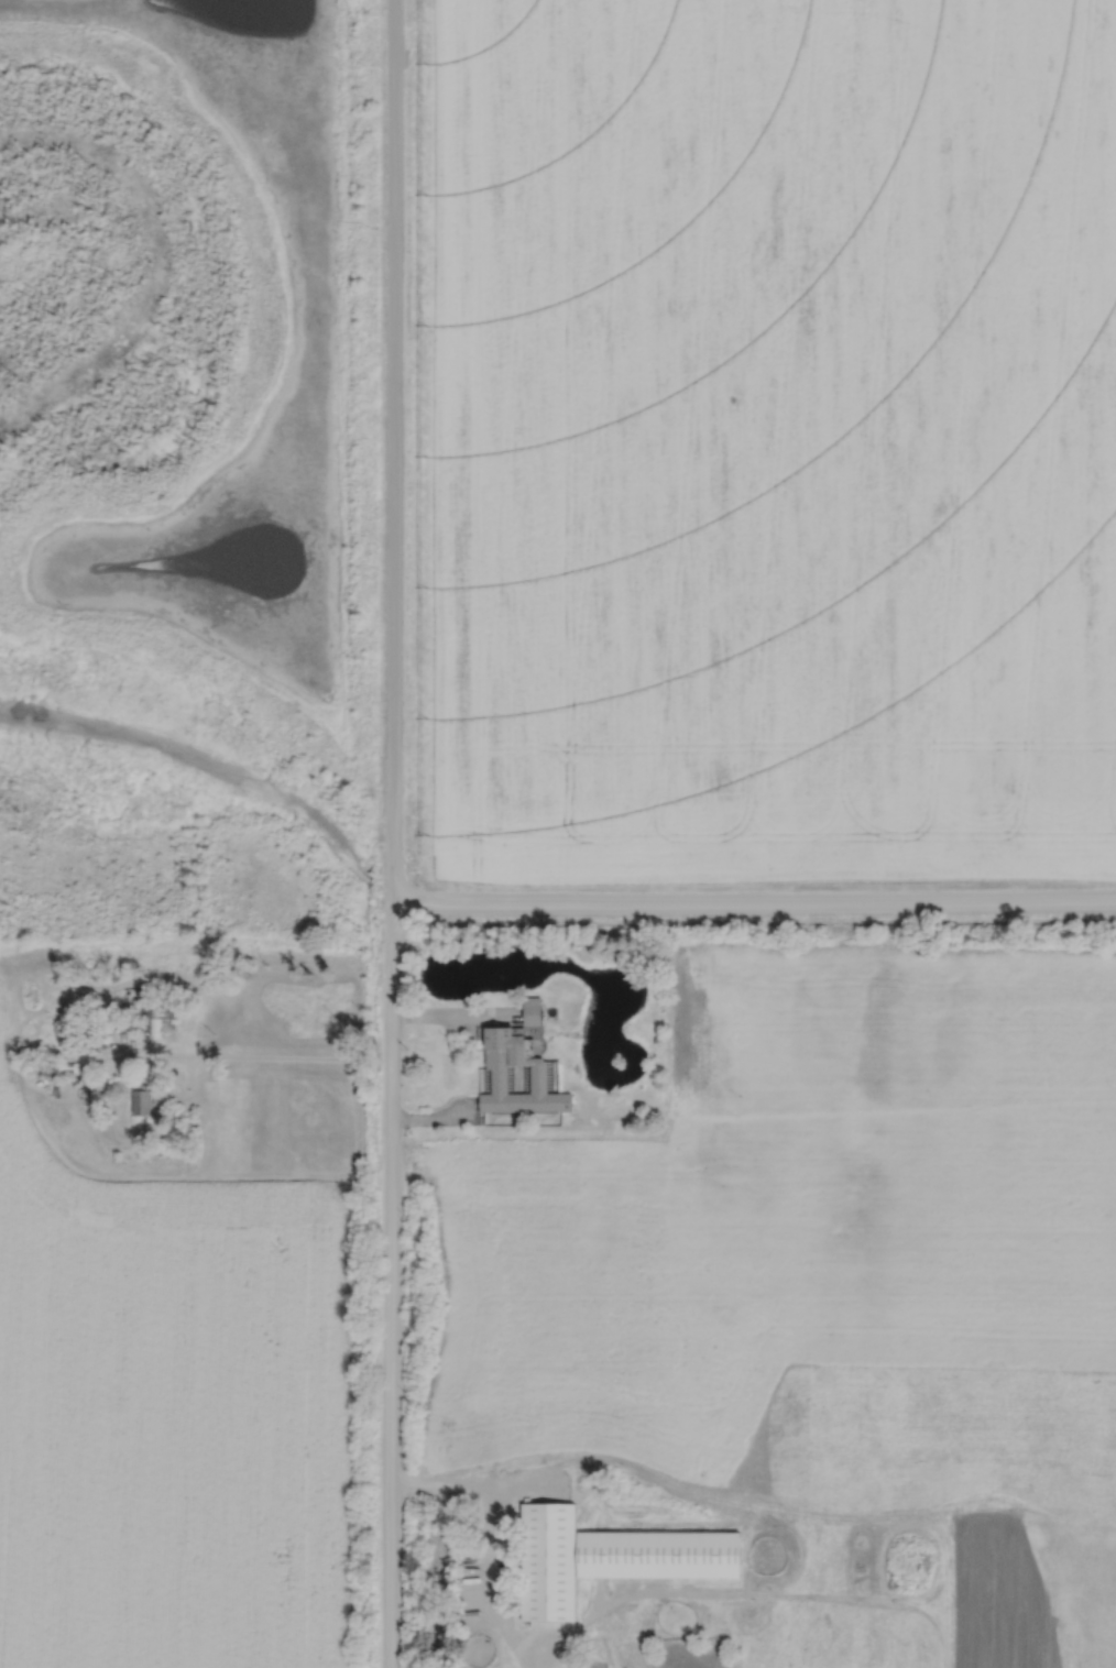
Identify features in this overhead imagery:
crop: (774, 439)
road: (392, 834)
road: (754, 896)
building: (168, 997)
building: (147, 1002)
building: (533, 1010)
building: (164, 1011)
road: (455, 1011)
building: (149, 1012)
building: (128, 1024)
building: (151, 1025)
building: (168, 1027)
road: (203, 1056)
building: (65, 1065)
building: (48, 1066)
building: (538, 1078)
building: (142, 1099)
road: (435, 1119)
crop: (794, 1197)
road: (491, 1540)
building: (658, 1554)
building: (548, 1561)

